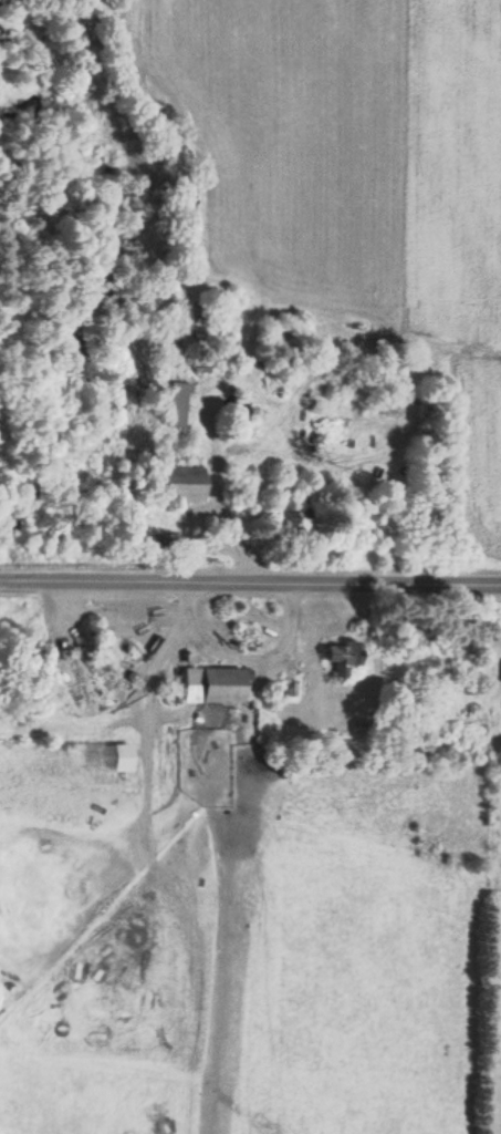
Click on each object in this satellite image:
building: (178, 404)
building: (239, 414)
building: (185, 483)
building: (283, 511)
road: (250, 580)
building: (345, 650)
building: (215, 683)
building: (123, 755)

